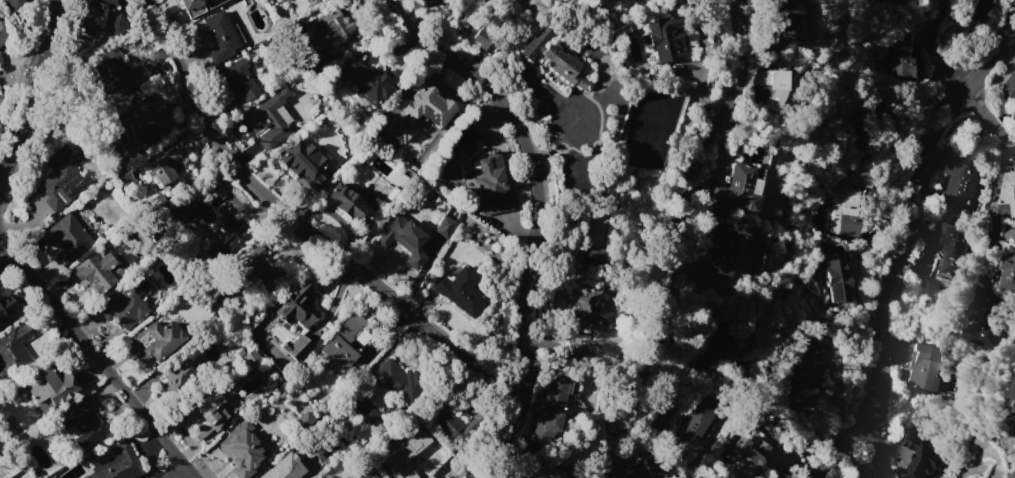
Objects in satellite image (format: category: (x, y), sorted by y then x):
building: (424, 1)
building: (894, 1)
building: (11, 2)
building: (188, 4)
building: (779, 9)
building: (976, 10)
building: (104, 19)
building: (5, 29)
building: (324, 29)
building: (220, 36)
building: (484, 38)
building: (663, 39)
road: (929, 50)
building: (552, 57)
building: (898, 57)
building: (1, 60)
building: (316, 64)
building: (118, 70)
building: (239, 80)
building: (367, 80)
road: (31, 85)
building: (774, 86)
building: (1009, 86)
road: (974, 100)
building: (2, 102)
building: (420, 112)
building: (144, 118)
building: (272, 118)
building: (867, 122)
road: (994, 124)
road: (1009, 141)
building: (170, 155)
building: (861, 158)
building: (305, 163)
building: (122, 175)
building: (855, 177)
building: (958, 183)
building: (491, 185)
building: (61, 186)
building: (737, 189)
building: (1008, 189)
building: (348, 202)
road: (991, 209)
building: (844, 210)
building: (214, 216)
road: (541, 216)
road: (300, 227)
building: (445, 227)
building: (67, 238)
road: (900, 238)
building: (404, 239)
building: (721, 245)
building: (951, 246)
building: (592, 258)
road: (672, 259)
building: (261, 269)
building: (1008, 271)
building: (94, 273)
building: (835, 280)
building: (459, 291)
building: (125, 305)
building: (296, 305)
building: (591, 306)
building: (5, 308)
building: (985, 327)
building: (156, 341)
building: (344, 342)
building: (298, 347)
building: (709, 348)
building: (574, 350)
building: (14, 351)
road: (93, 358)
building: (251, 358)
building: (922, 369)
building: (267, 370)
building: (176, 371)
building: (804, 377)
building: (397, 378)
building: (49, 385)
building: (1012, 398)
building: (368, 413)
building: (550, 413)
building: (208, 414)
building: (305, 419)
building: (696, 420)
building: (80, 421)
building: (445, 421)
building: (661, 422)
road: (877, 444)
building: (242, 449)
building: (745, 452)
building: (919, 455)
building: (404, 457)
building: (117, 464)
building: (285, 468)
building: (639, 469)
building: (1013, 475)

